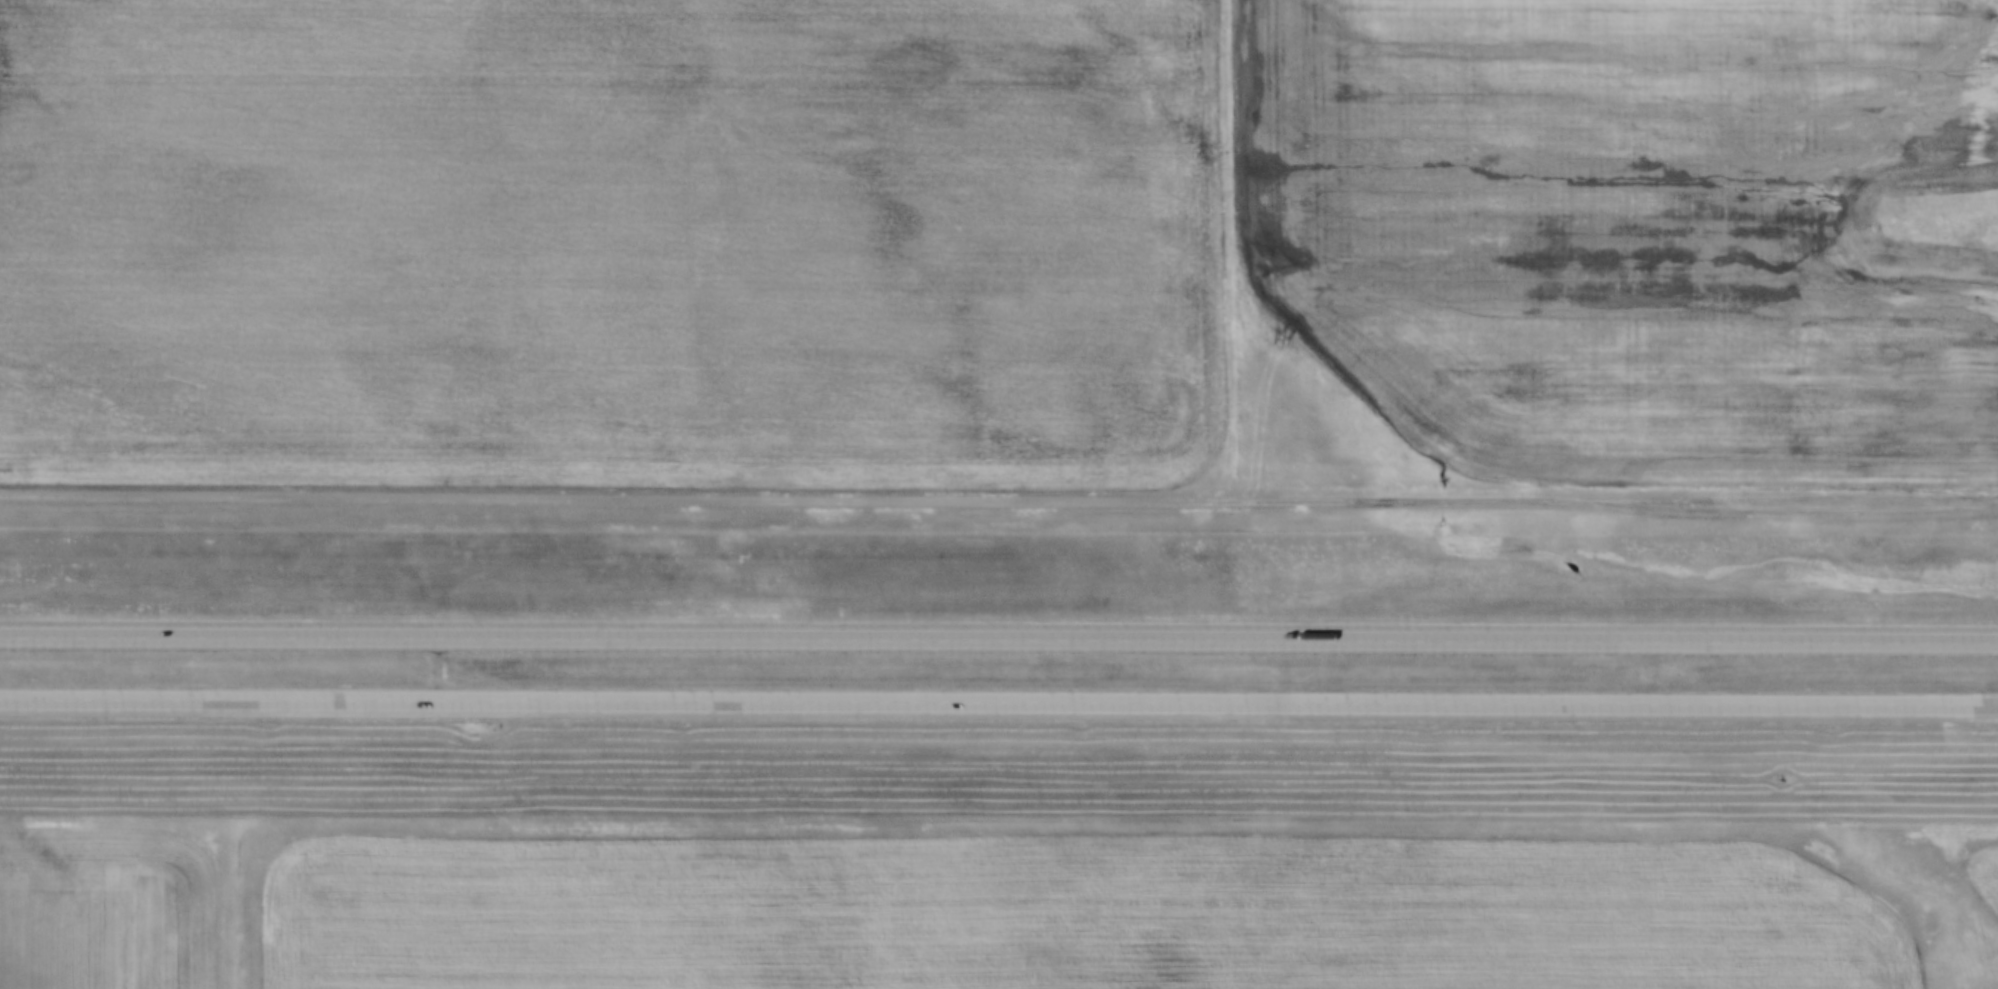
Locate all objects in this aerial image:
crop: (606, 239)
road: (999, 497)
road: (999, 634)
road: (998, 702)

